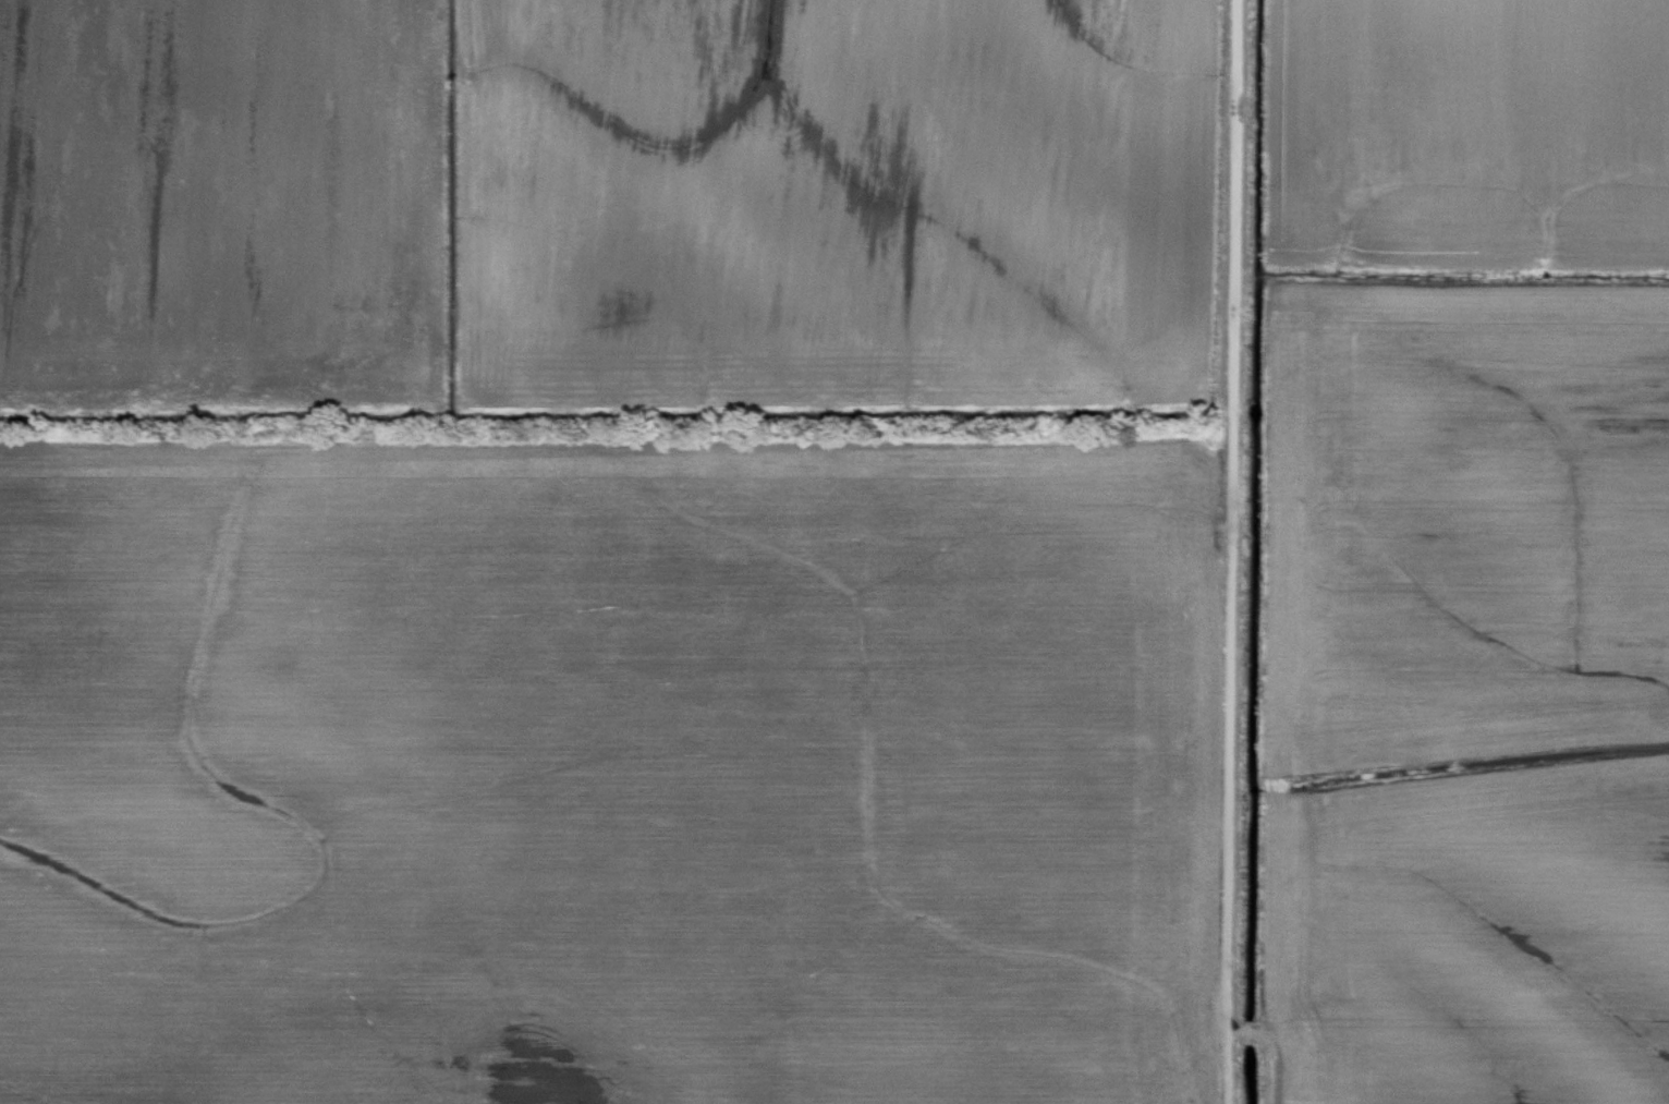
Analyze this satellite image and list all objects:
road: (1210, 551)

